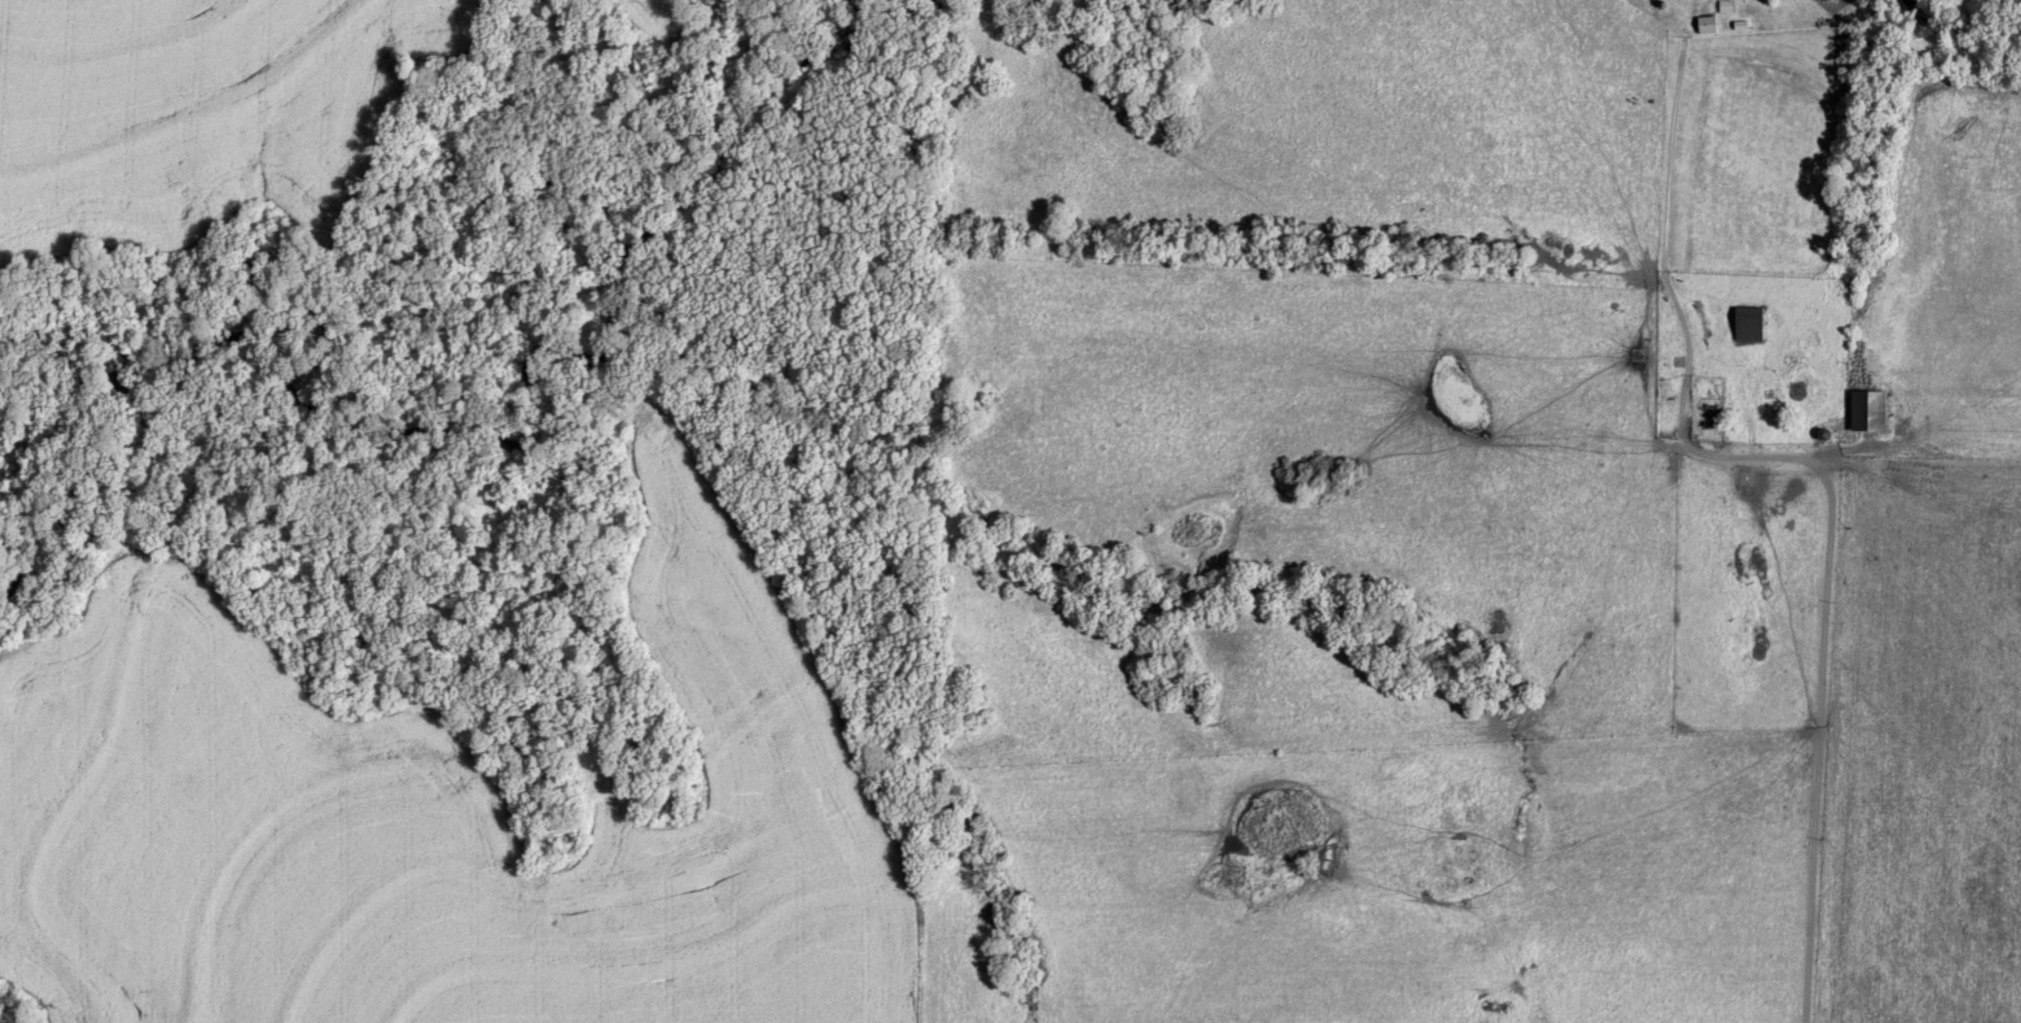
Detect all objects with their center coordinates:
building: (1751, 323)
building: (1871, 410)
road: (1824, 617)

